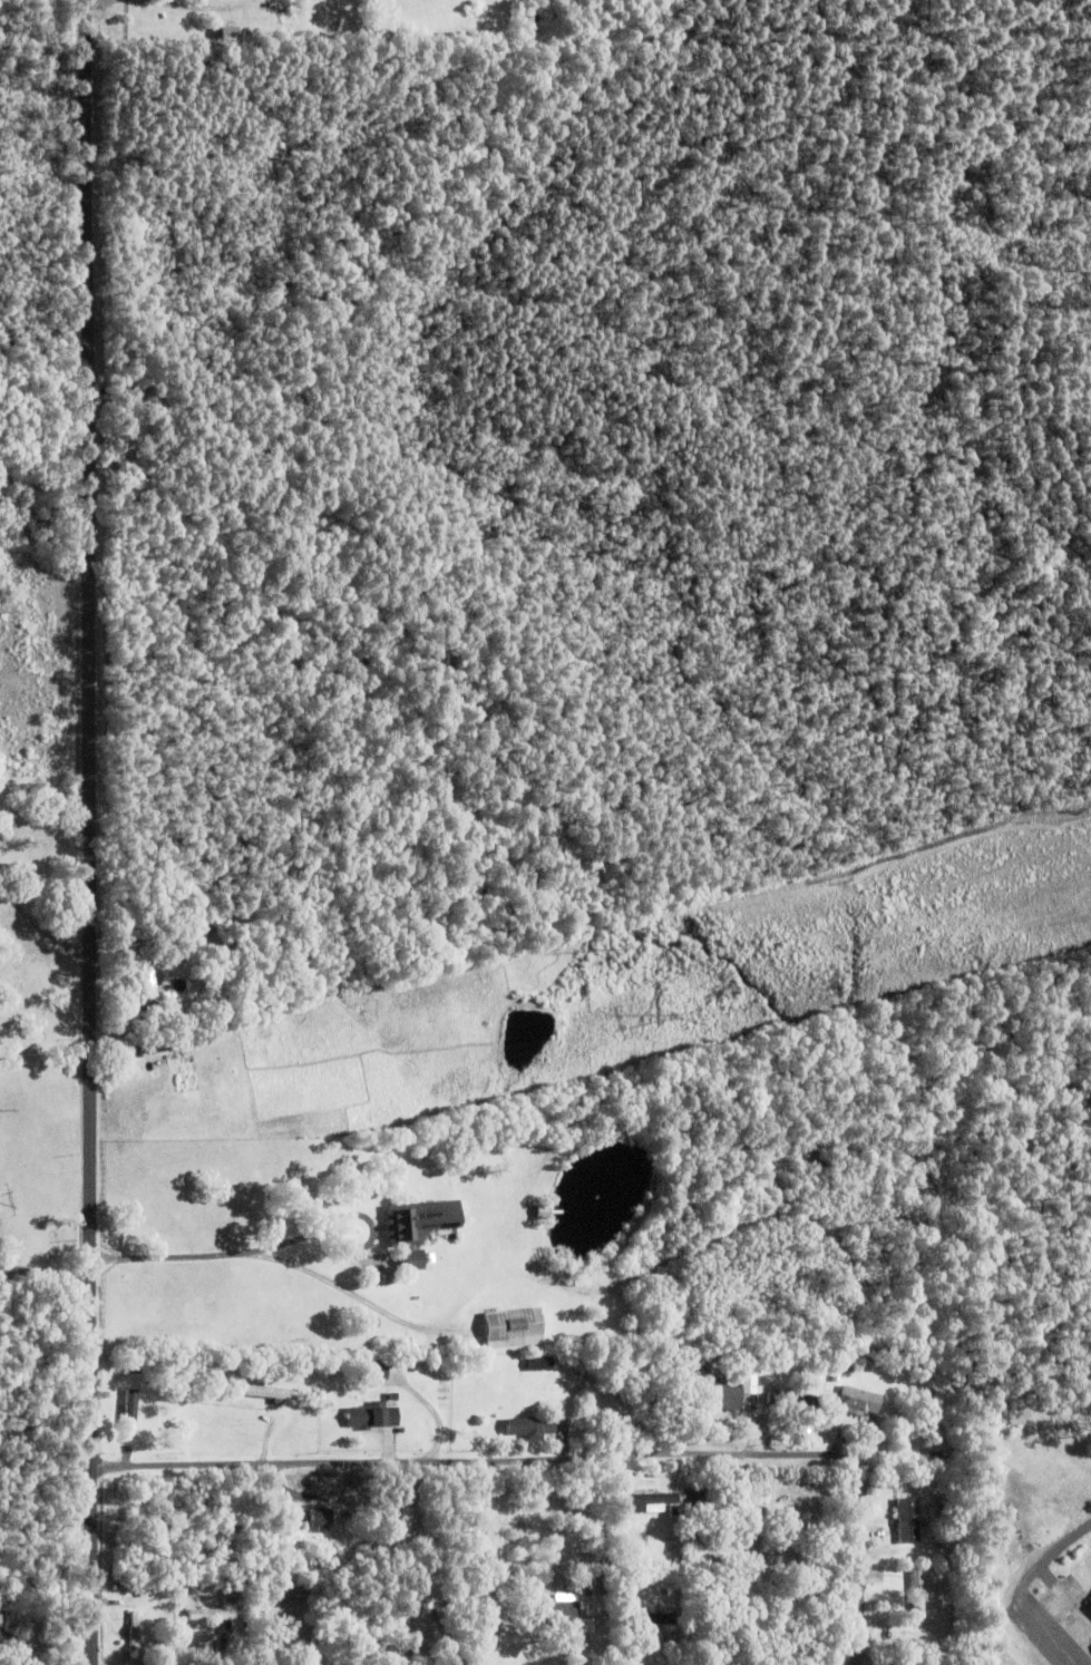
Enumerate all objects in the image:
road: (92, 831)
road: (41, 934)
building: (145, 986)
power tower: (671, 1016)
building: (158, 1039)
building: (540, 1209)
building: (417, 1223)
road: (224, 1253)
building: (430, 1255)
road: (46, 1270)
building: (373, 1322)
building: (512, 1325)
building: (615, 1357)
building: (538, 1362)
building: (844, 1363)
building: (134, 1366)
building: (430, 1366)
building: (372, 1370)
building: (835, 1375)
building: (152, 1376)
building: (271, 1390)
building: (720, 1395)
building: (640, 1396)
building: (791, 1396)
building: (856, 1400)
building: (126, 1406)
building: (373, 1414)
building: (528, 1425)
road: (574, 1459)
building: (652, 1496)
building: (702, 1502)
building: (947, 1502)
building: (673, 1509)
building: (321, 1515)
building: (717, 1517)
building: (908, 1518)
building: (405, 1520)
building: (799, 1527)
building: (674, 1542)
building: (630, 1565)
building: (238, 1583)
building: (603, 1584)
building: (632, 1585)
road: (1023, 1587)
building: (917, 1591)
building: (409, 1598)
building: (1089, 1605)
building: (457, 1610)
building: (559, 1613)
building: (212, 1614)
building: (649, 1616)
building: (288, 1630)
building: (134, 1632)
building: (952, 1640)

